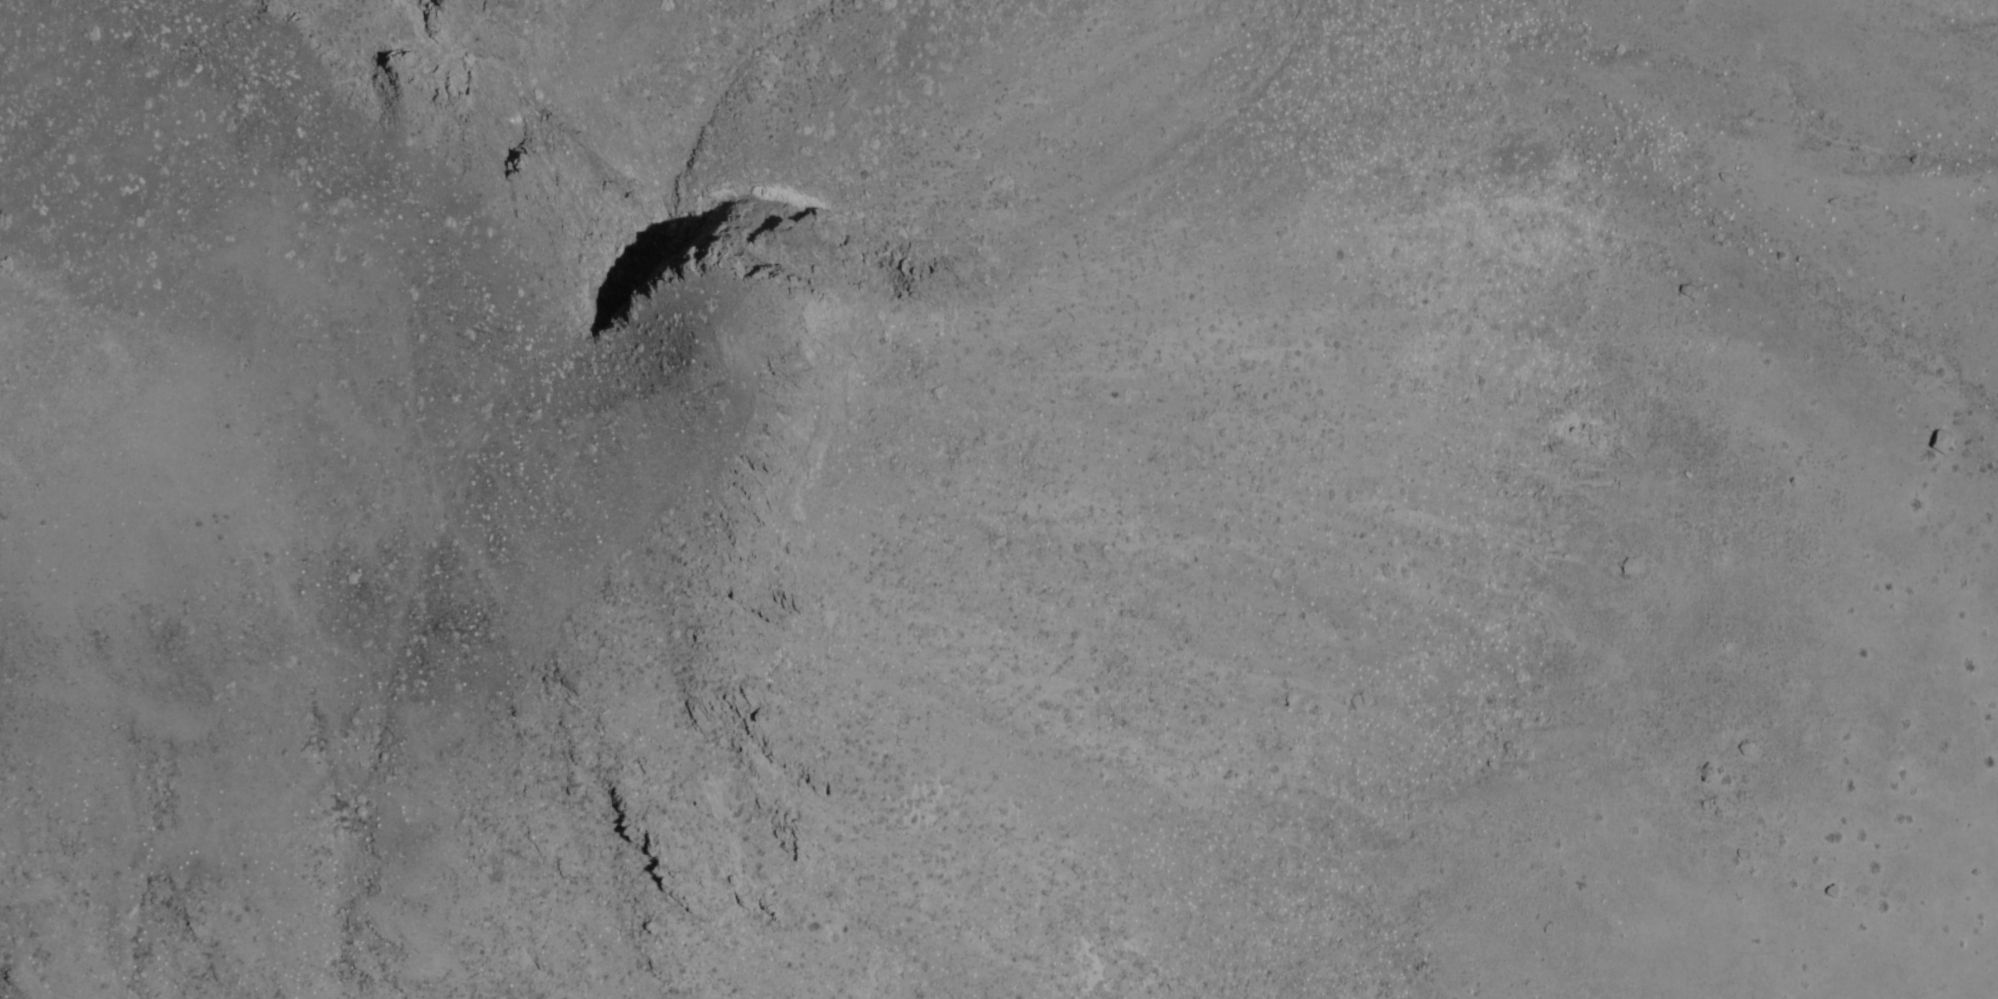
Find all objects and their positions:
building: (1936, 444)

